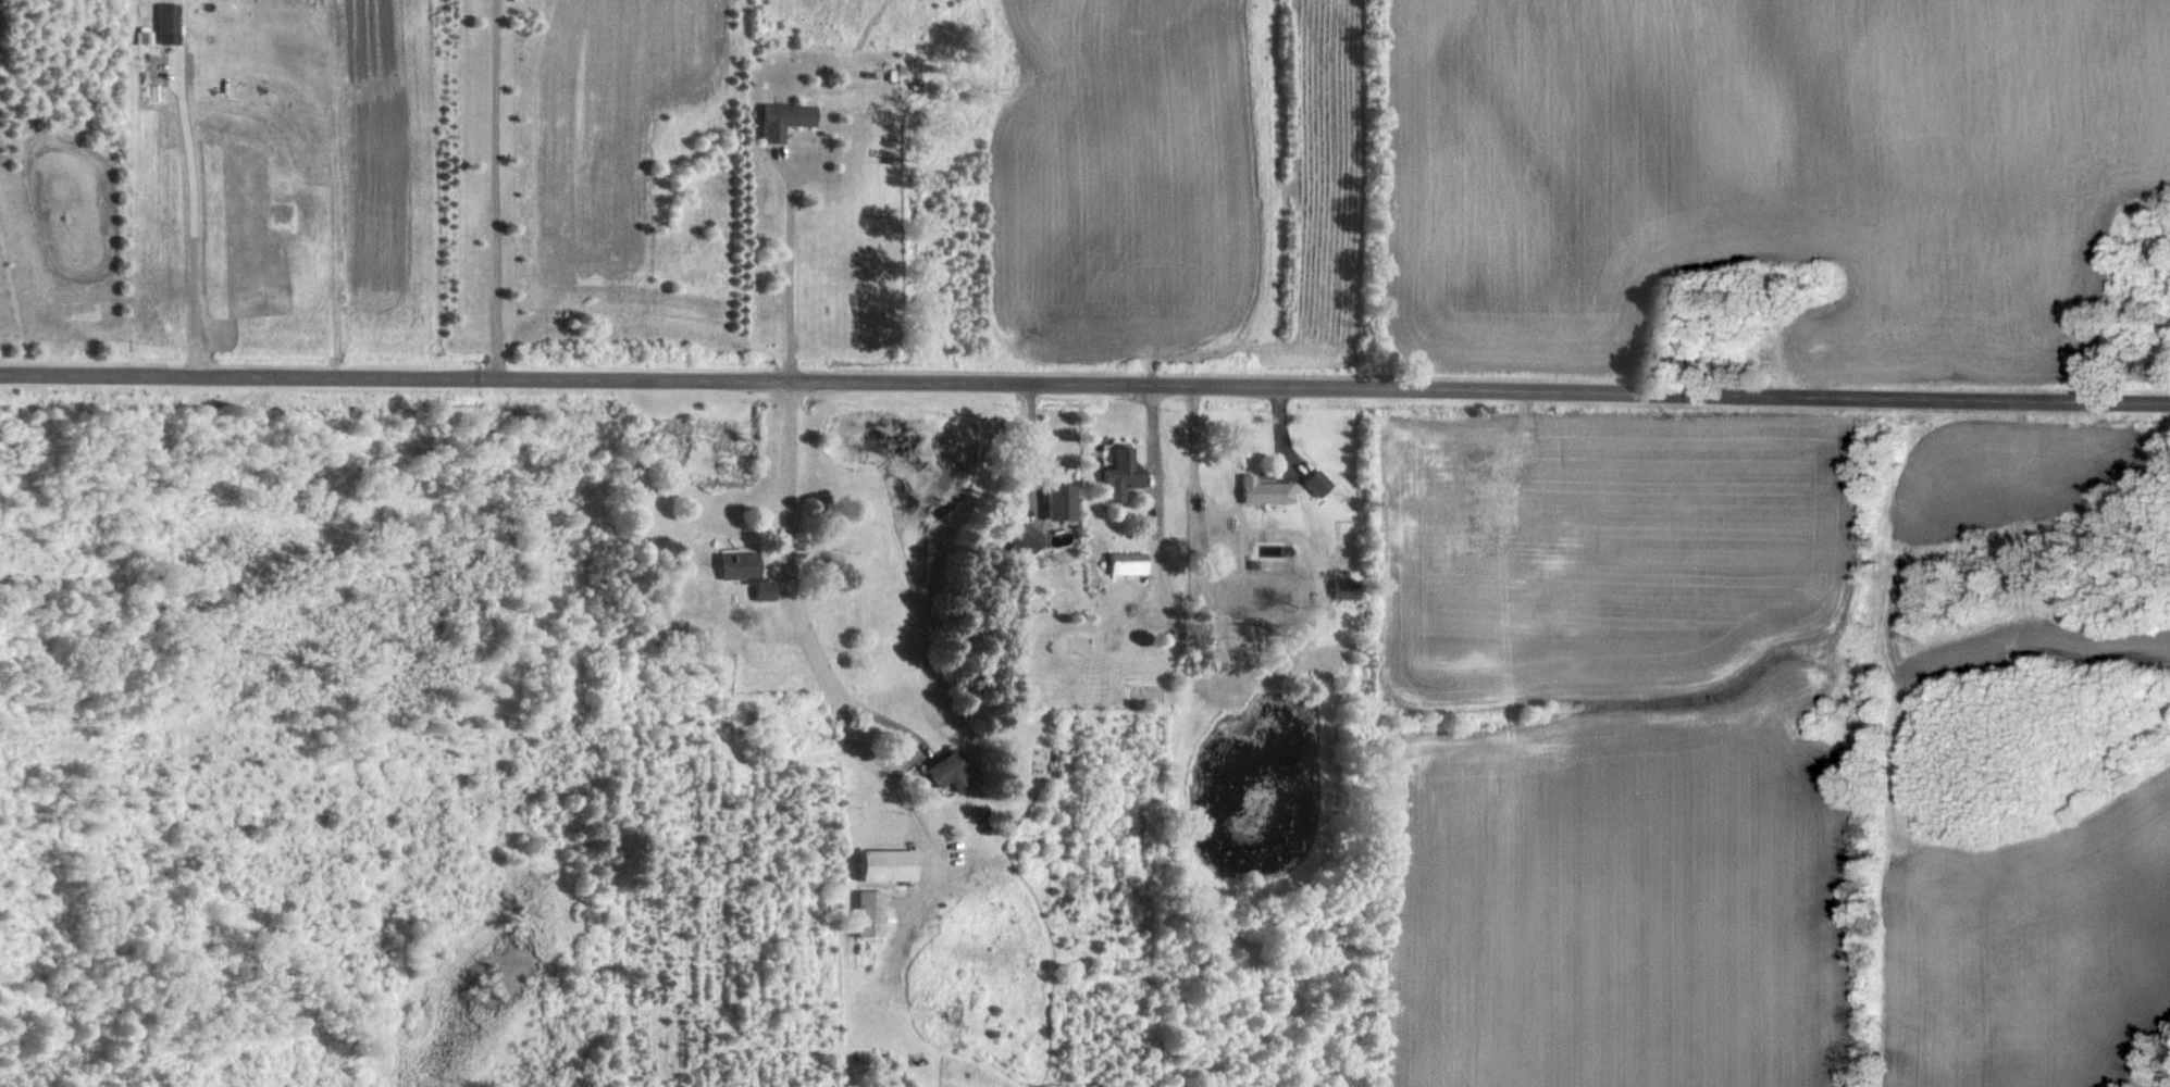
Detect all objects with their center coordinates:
building: (160, 23)
building: (777, 118)
road: (492, 188)
road: (190, 224)
road: (783, 275)
road: (1084, 385)
road: (1030, 449)
building: (1115, 474)
building: (1312, 482)
building: (1260, 490)
road: (1149, 496)
building: (1054, 501)
building: (1019, 537)
building: (1119, 562)
building: (735, 572)
building: (1338, 589)
road: (814, 674)
building: (875, 864)
building: (861, 913)

